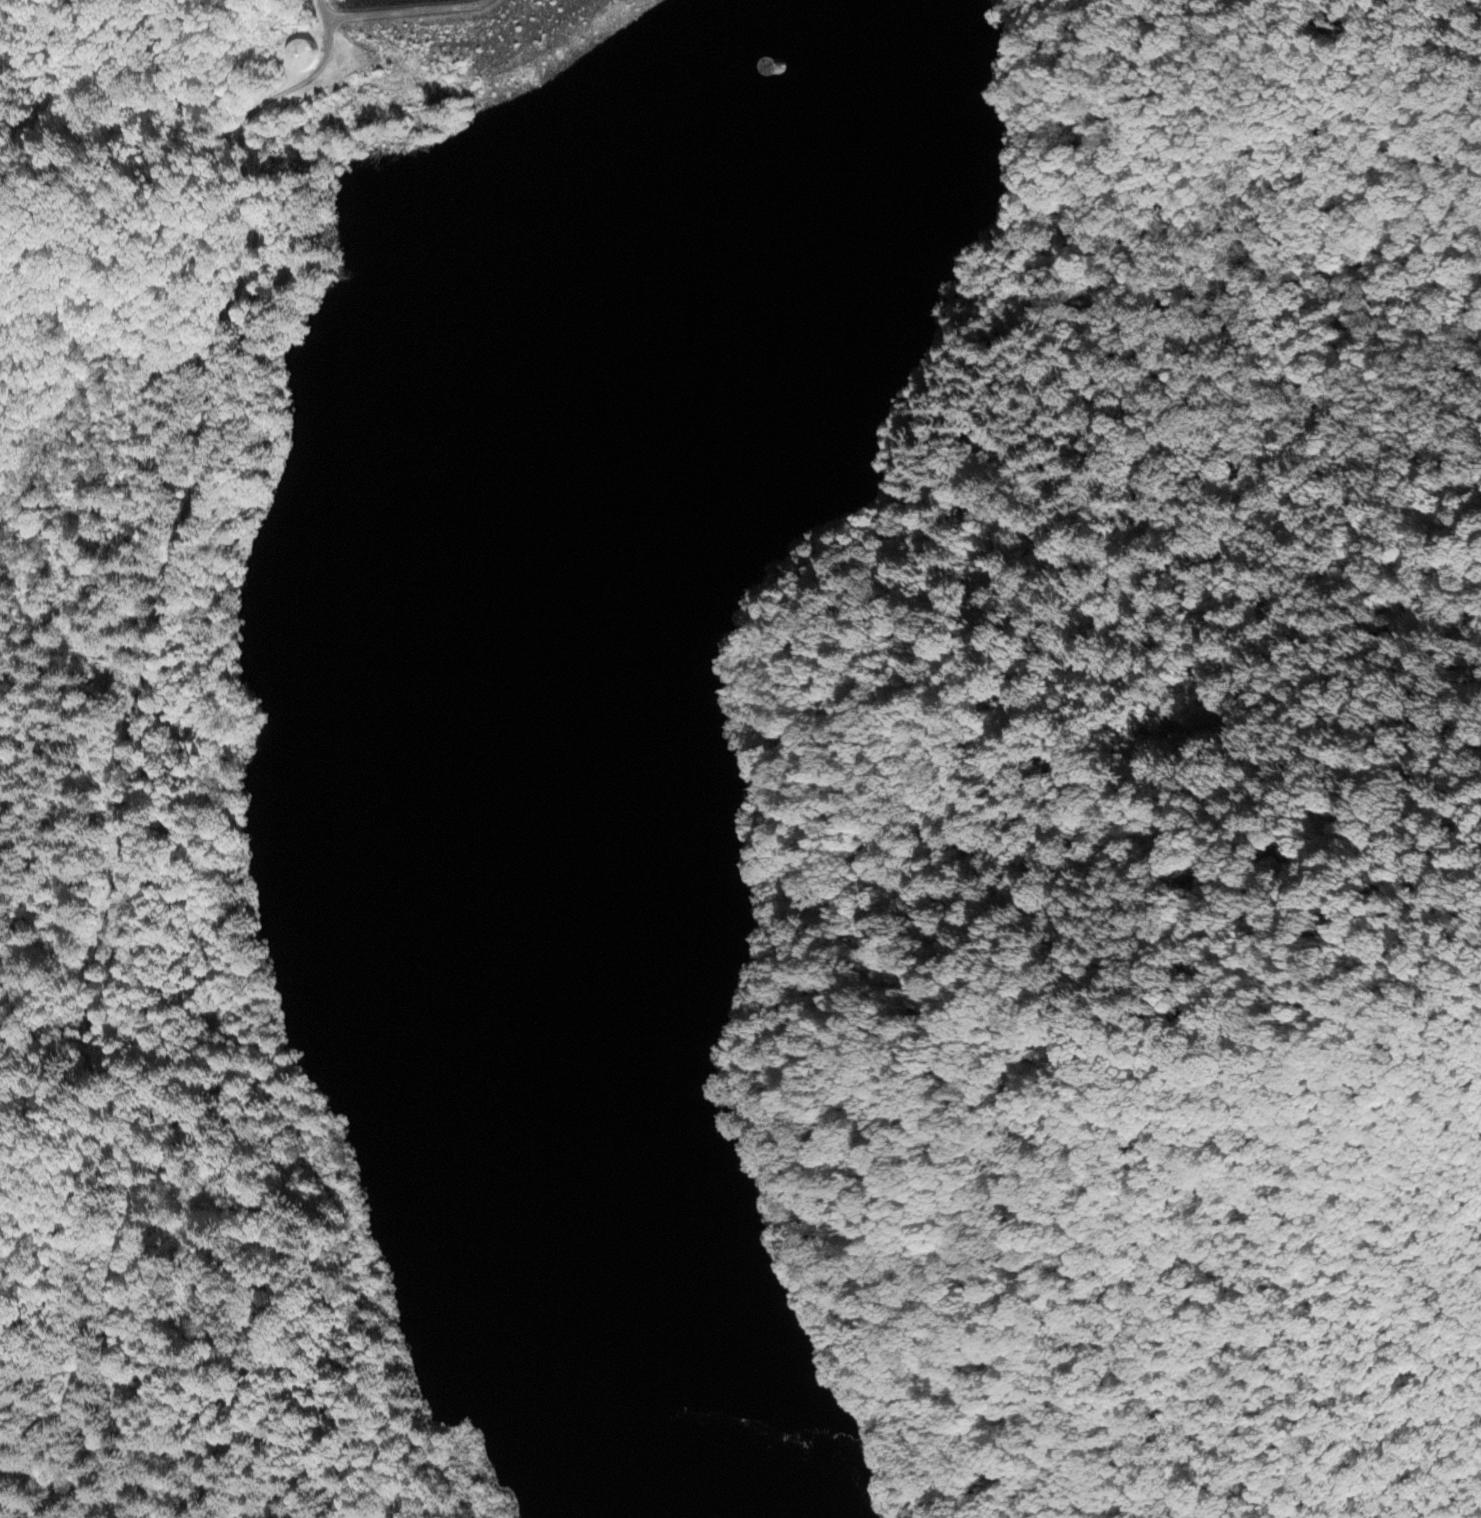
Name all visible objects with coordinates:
dam: (515, 30)
building: (297, 54)
road: (146, 655)

